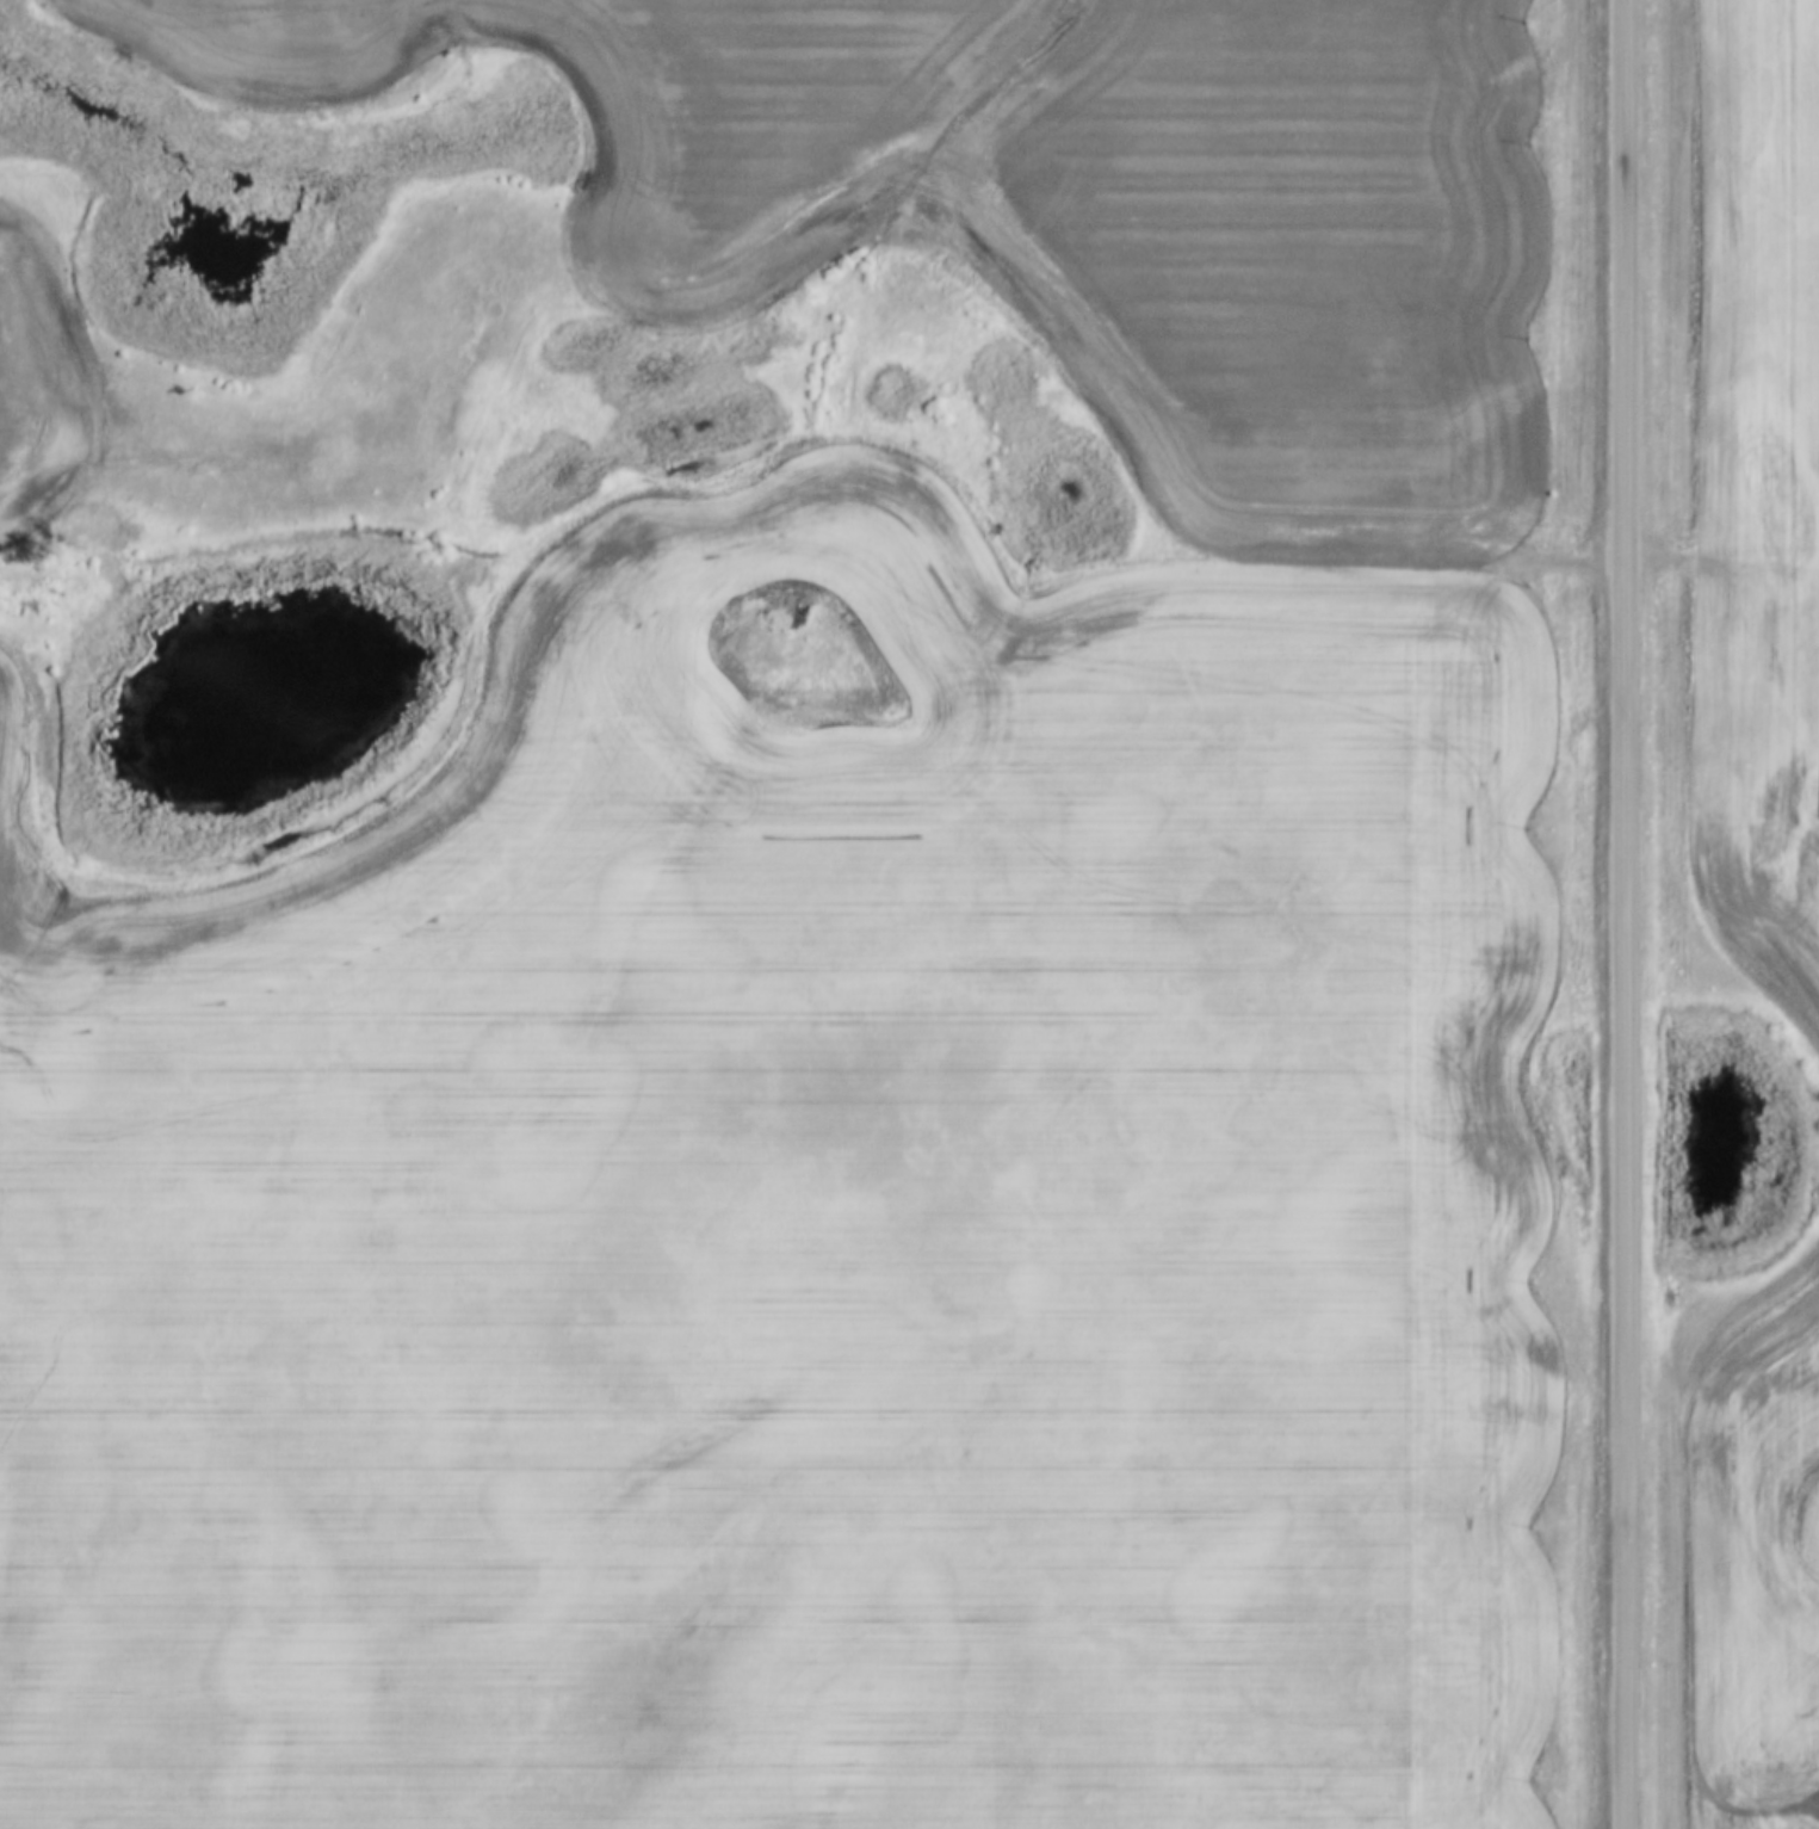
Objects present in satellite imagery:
road: (1626, 914)

